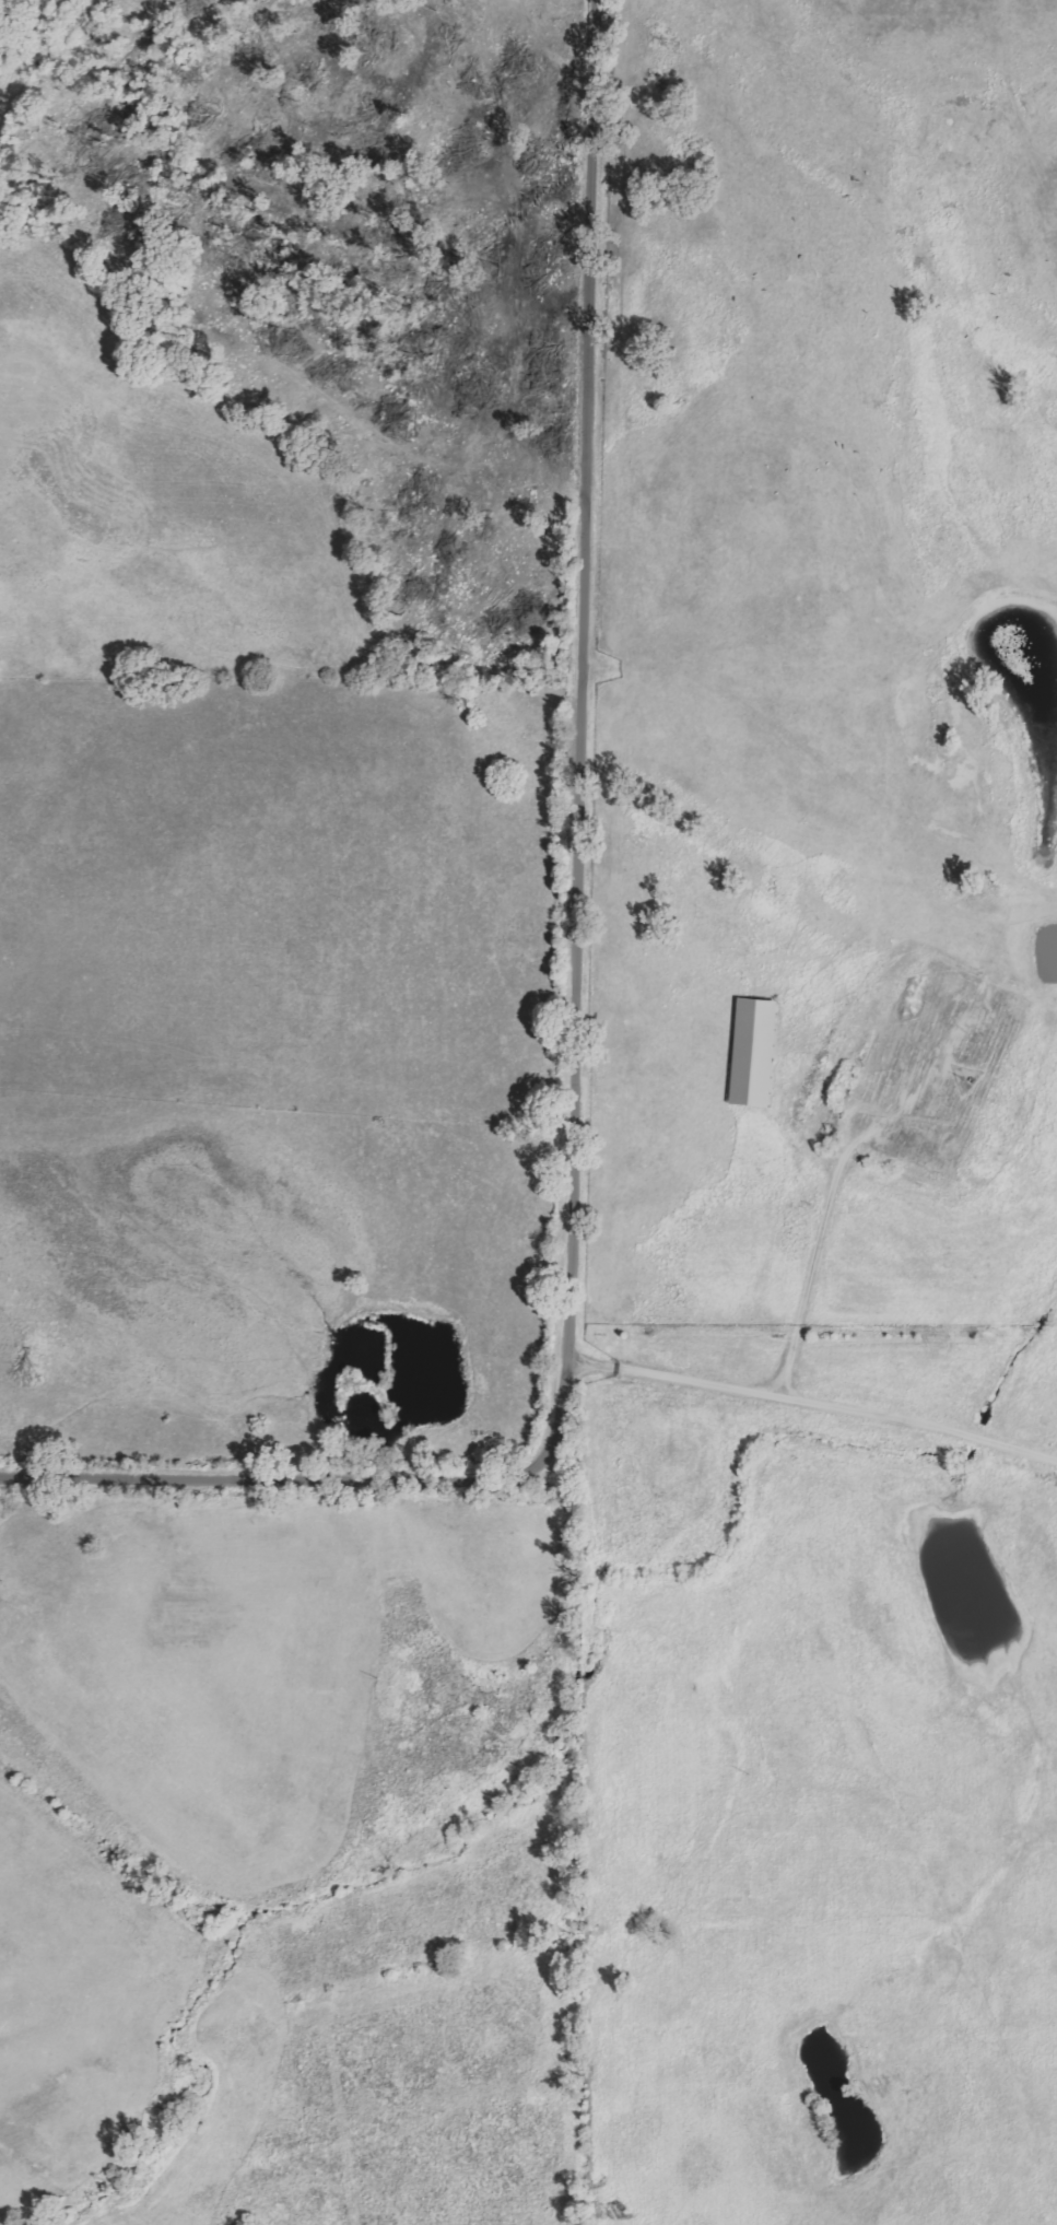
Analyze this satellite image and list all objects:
road: (573, 1006)
building: (756, 1053)
road: (811, 1402)

